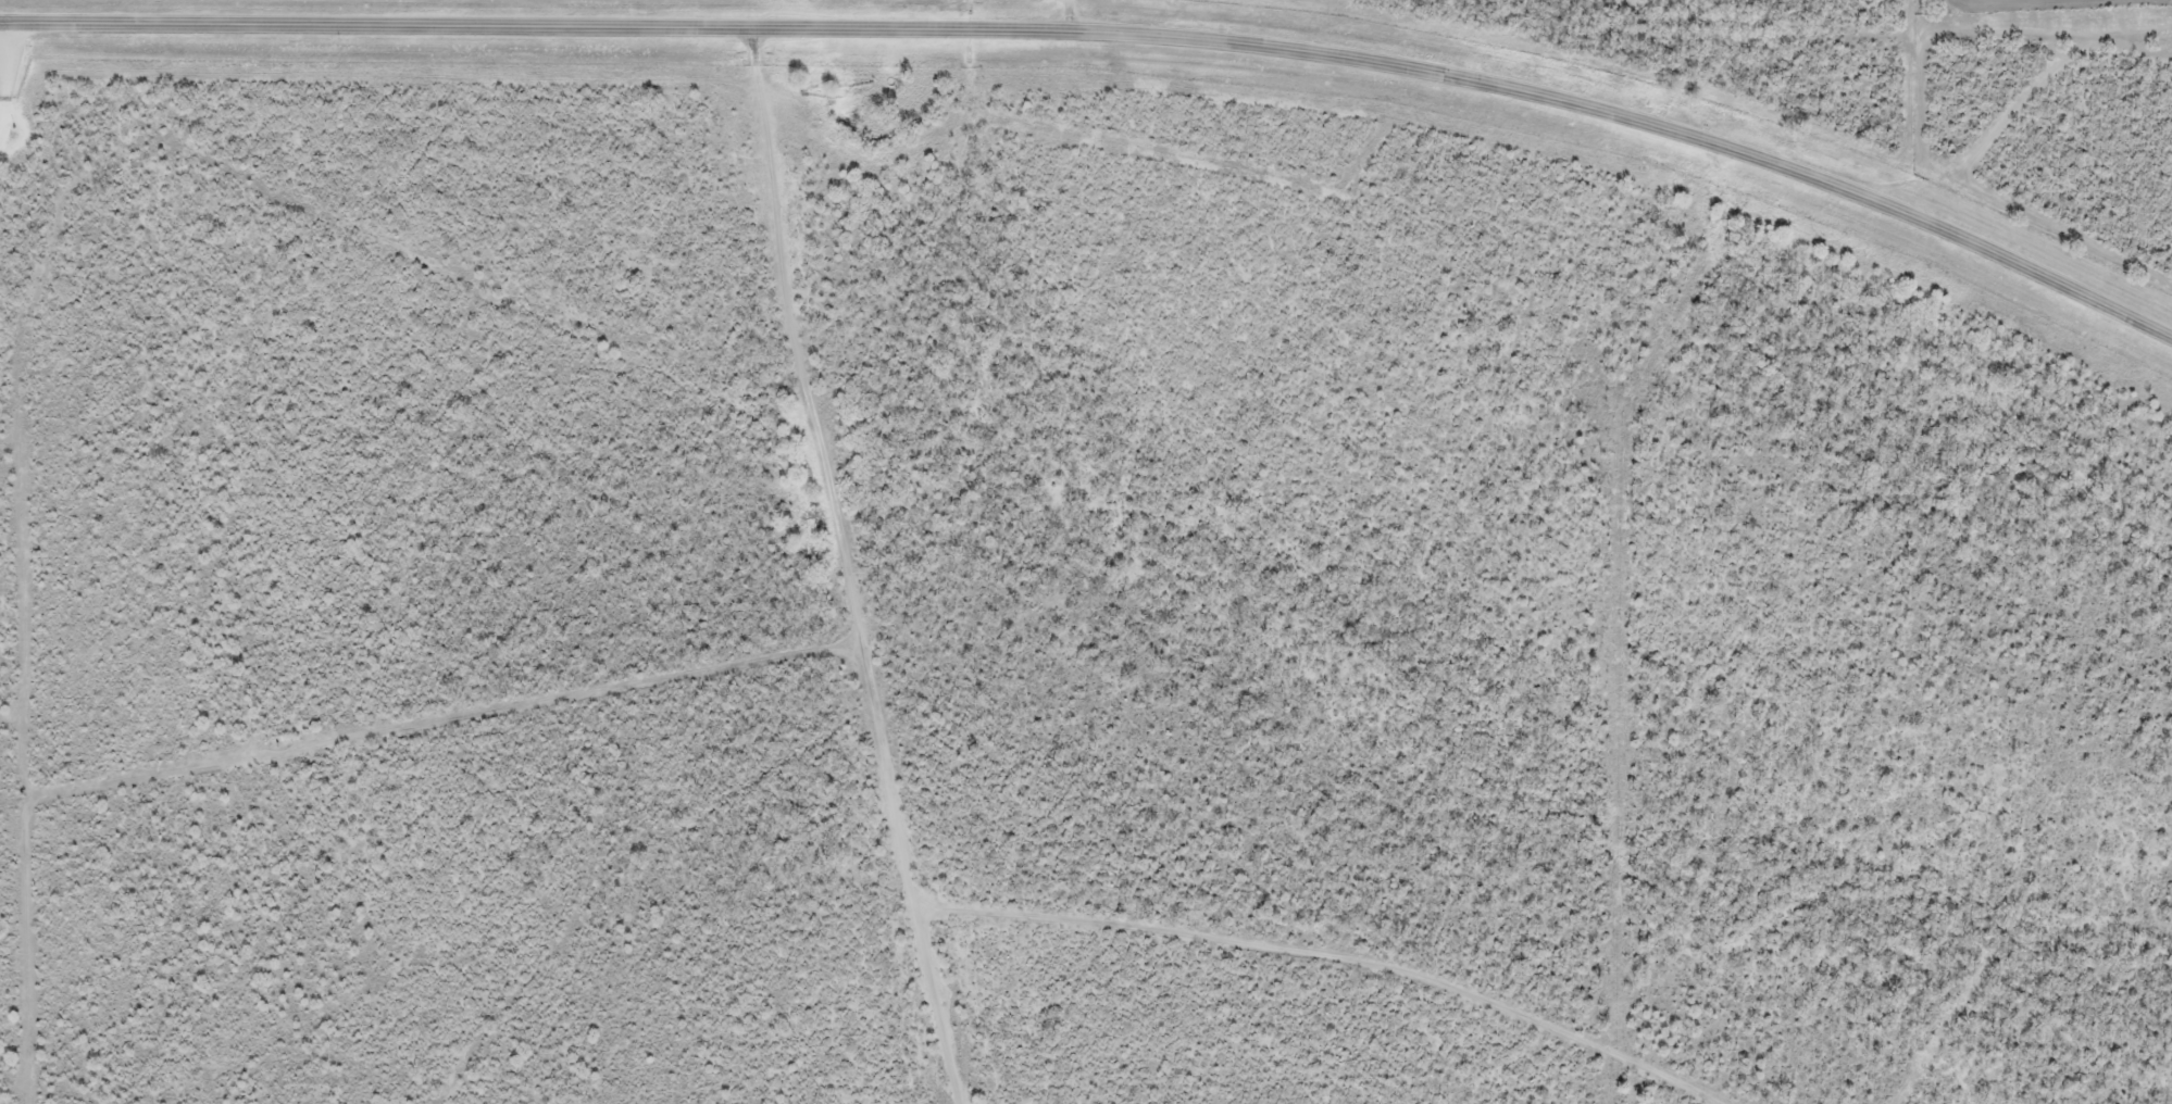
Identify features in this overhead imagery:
road: (1069, 16)
road: (1111, 34)

